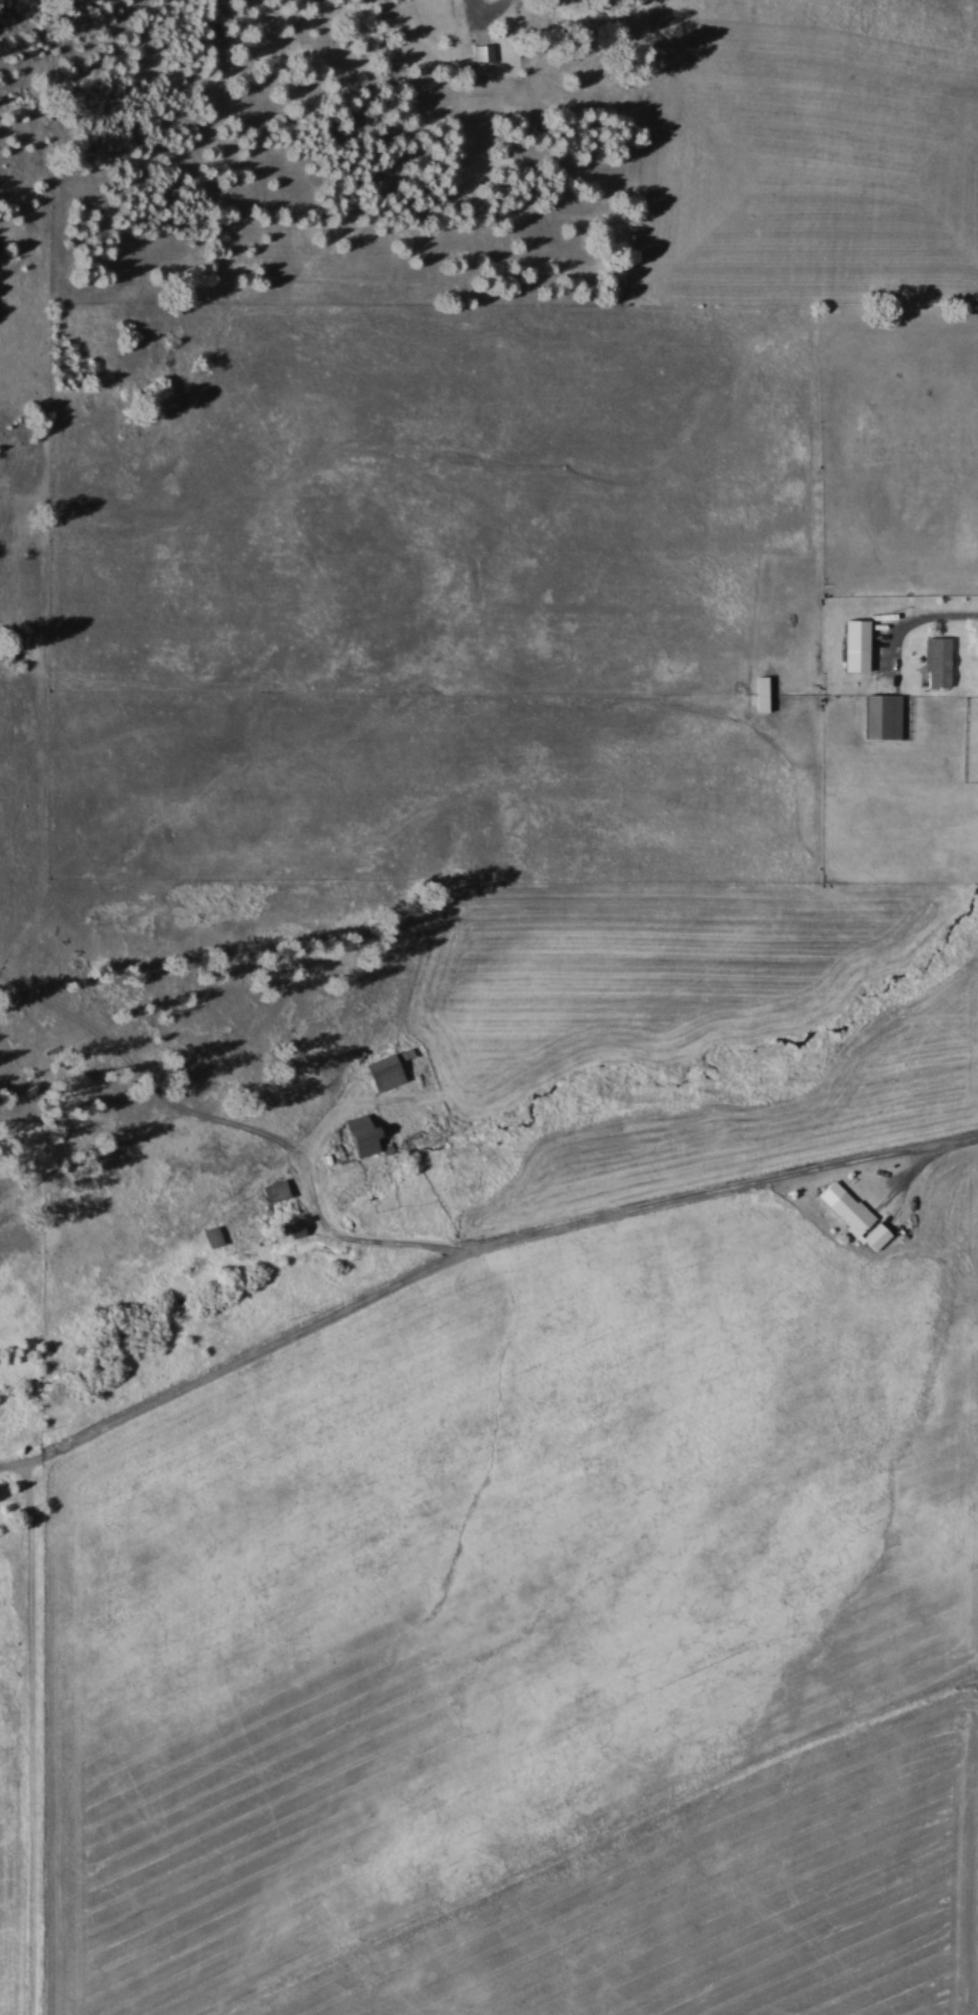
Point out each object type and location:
building: (483, 52)
building: (96, 366)
building: (854, 645)
building: (938, 662)
building: (760, 693)
building: (881, 717)
building: (382, 1071)
building: (360, 1134)
building: (853, 1214)
building: (295, 1229)
building: (212, 1235)
road: (470, 1252)

